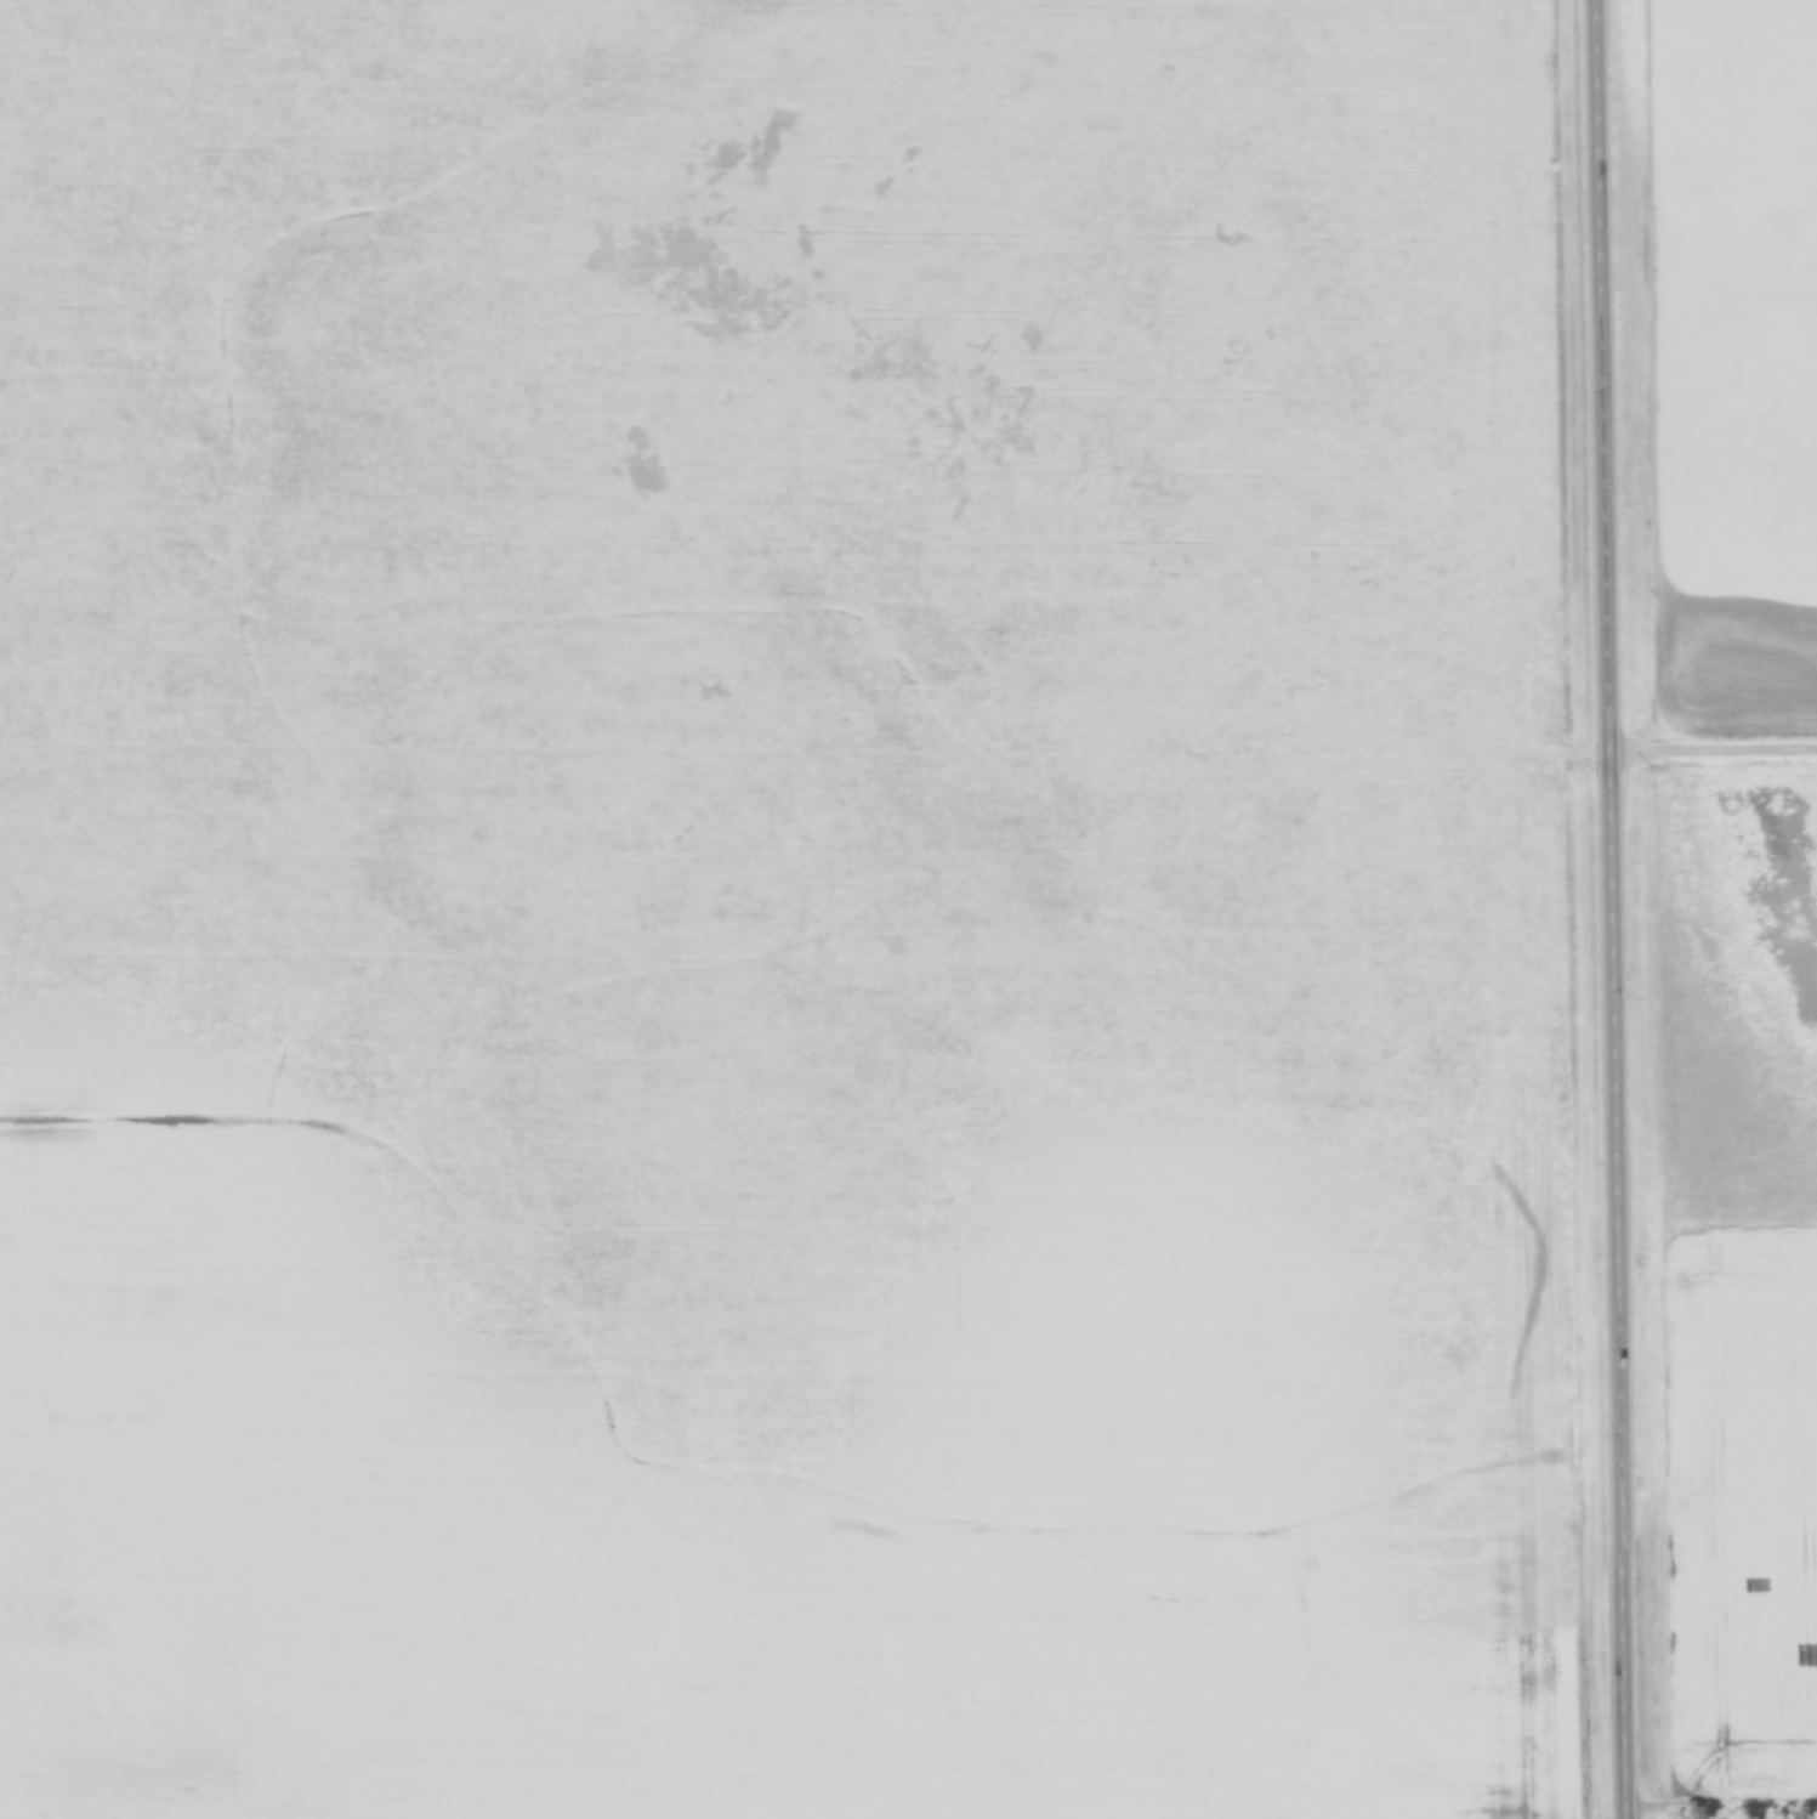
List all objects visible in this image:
road: (1710, 753)
road: (1607, 909)

